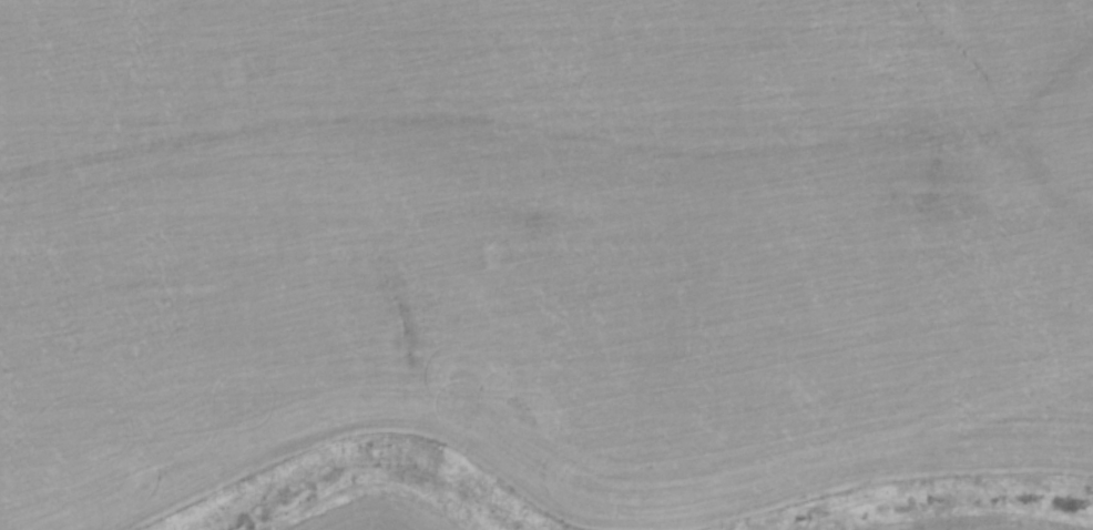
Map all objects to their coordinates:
crop: (546, 265)

